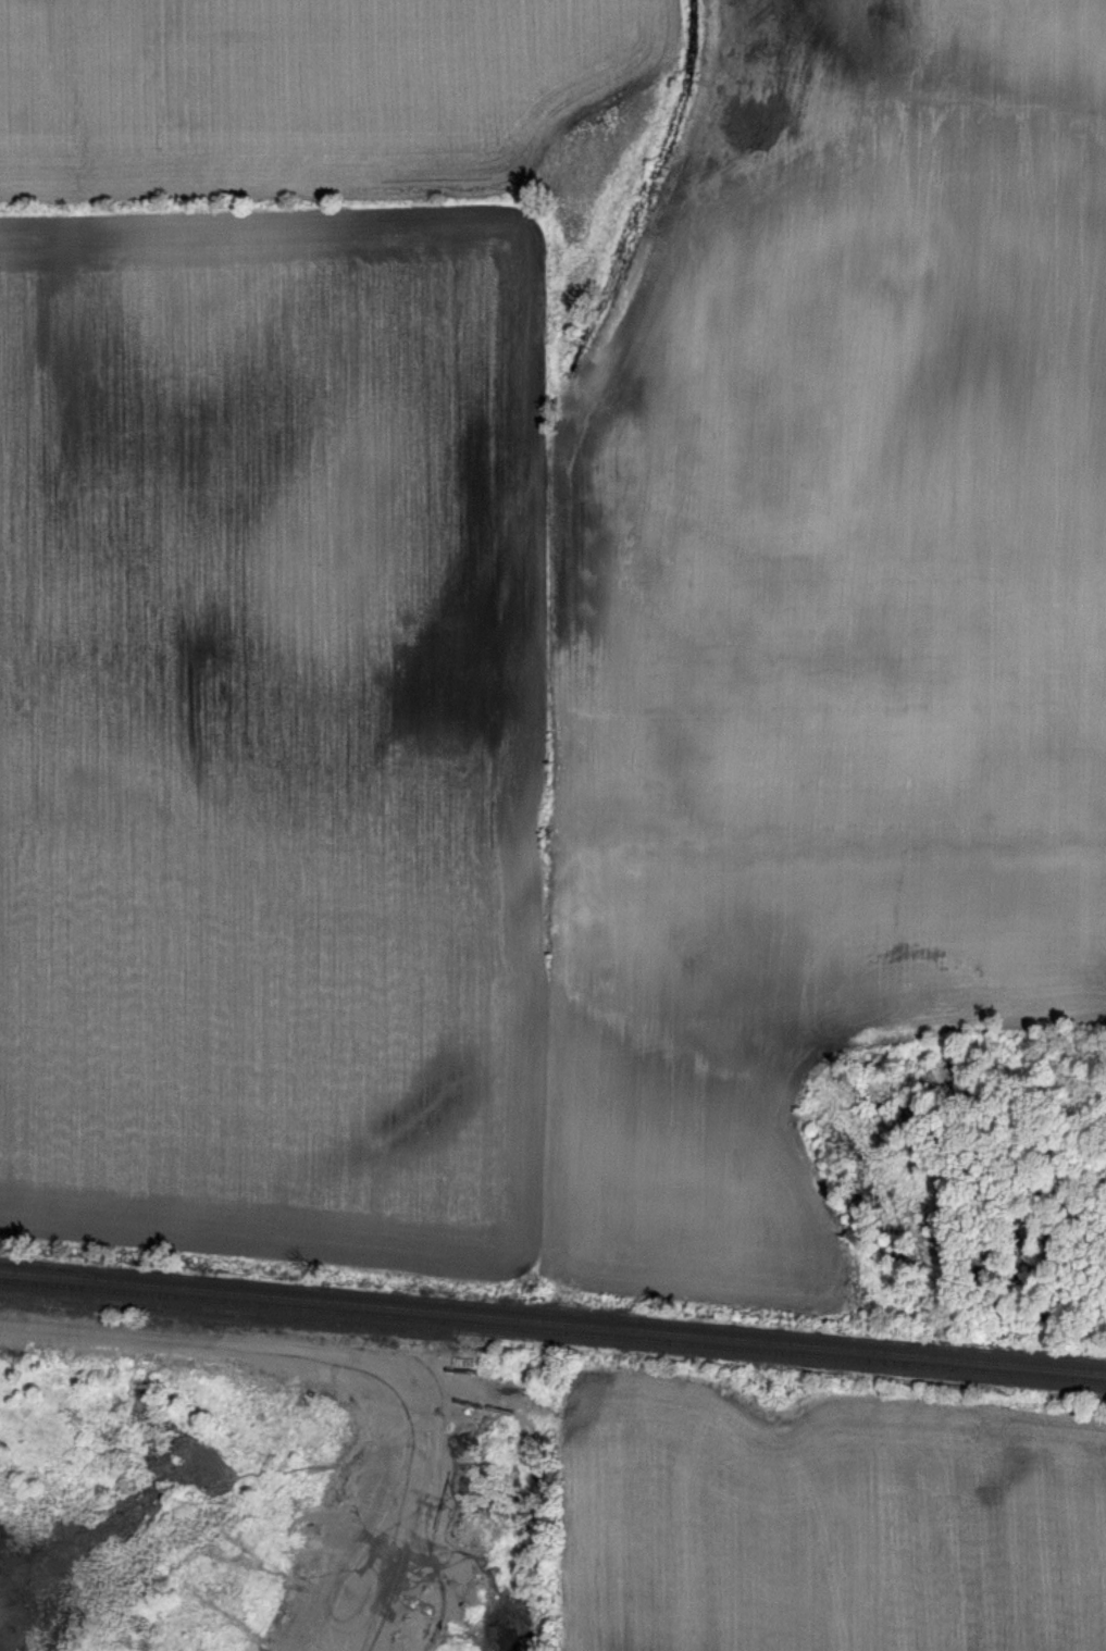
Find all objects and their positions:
building: (490, 733)
railway: (552, 1319)
railway: (552, 1327)

